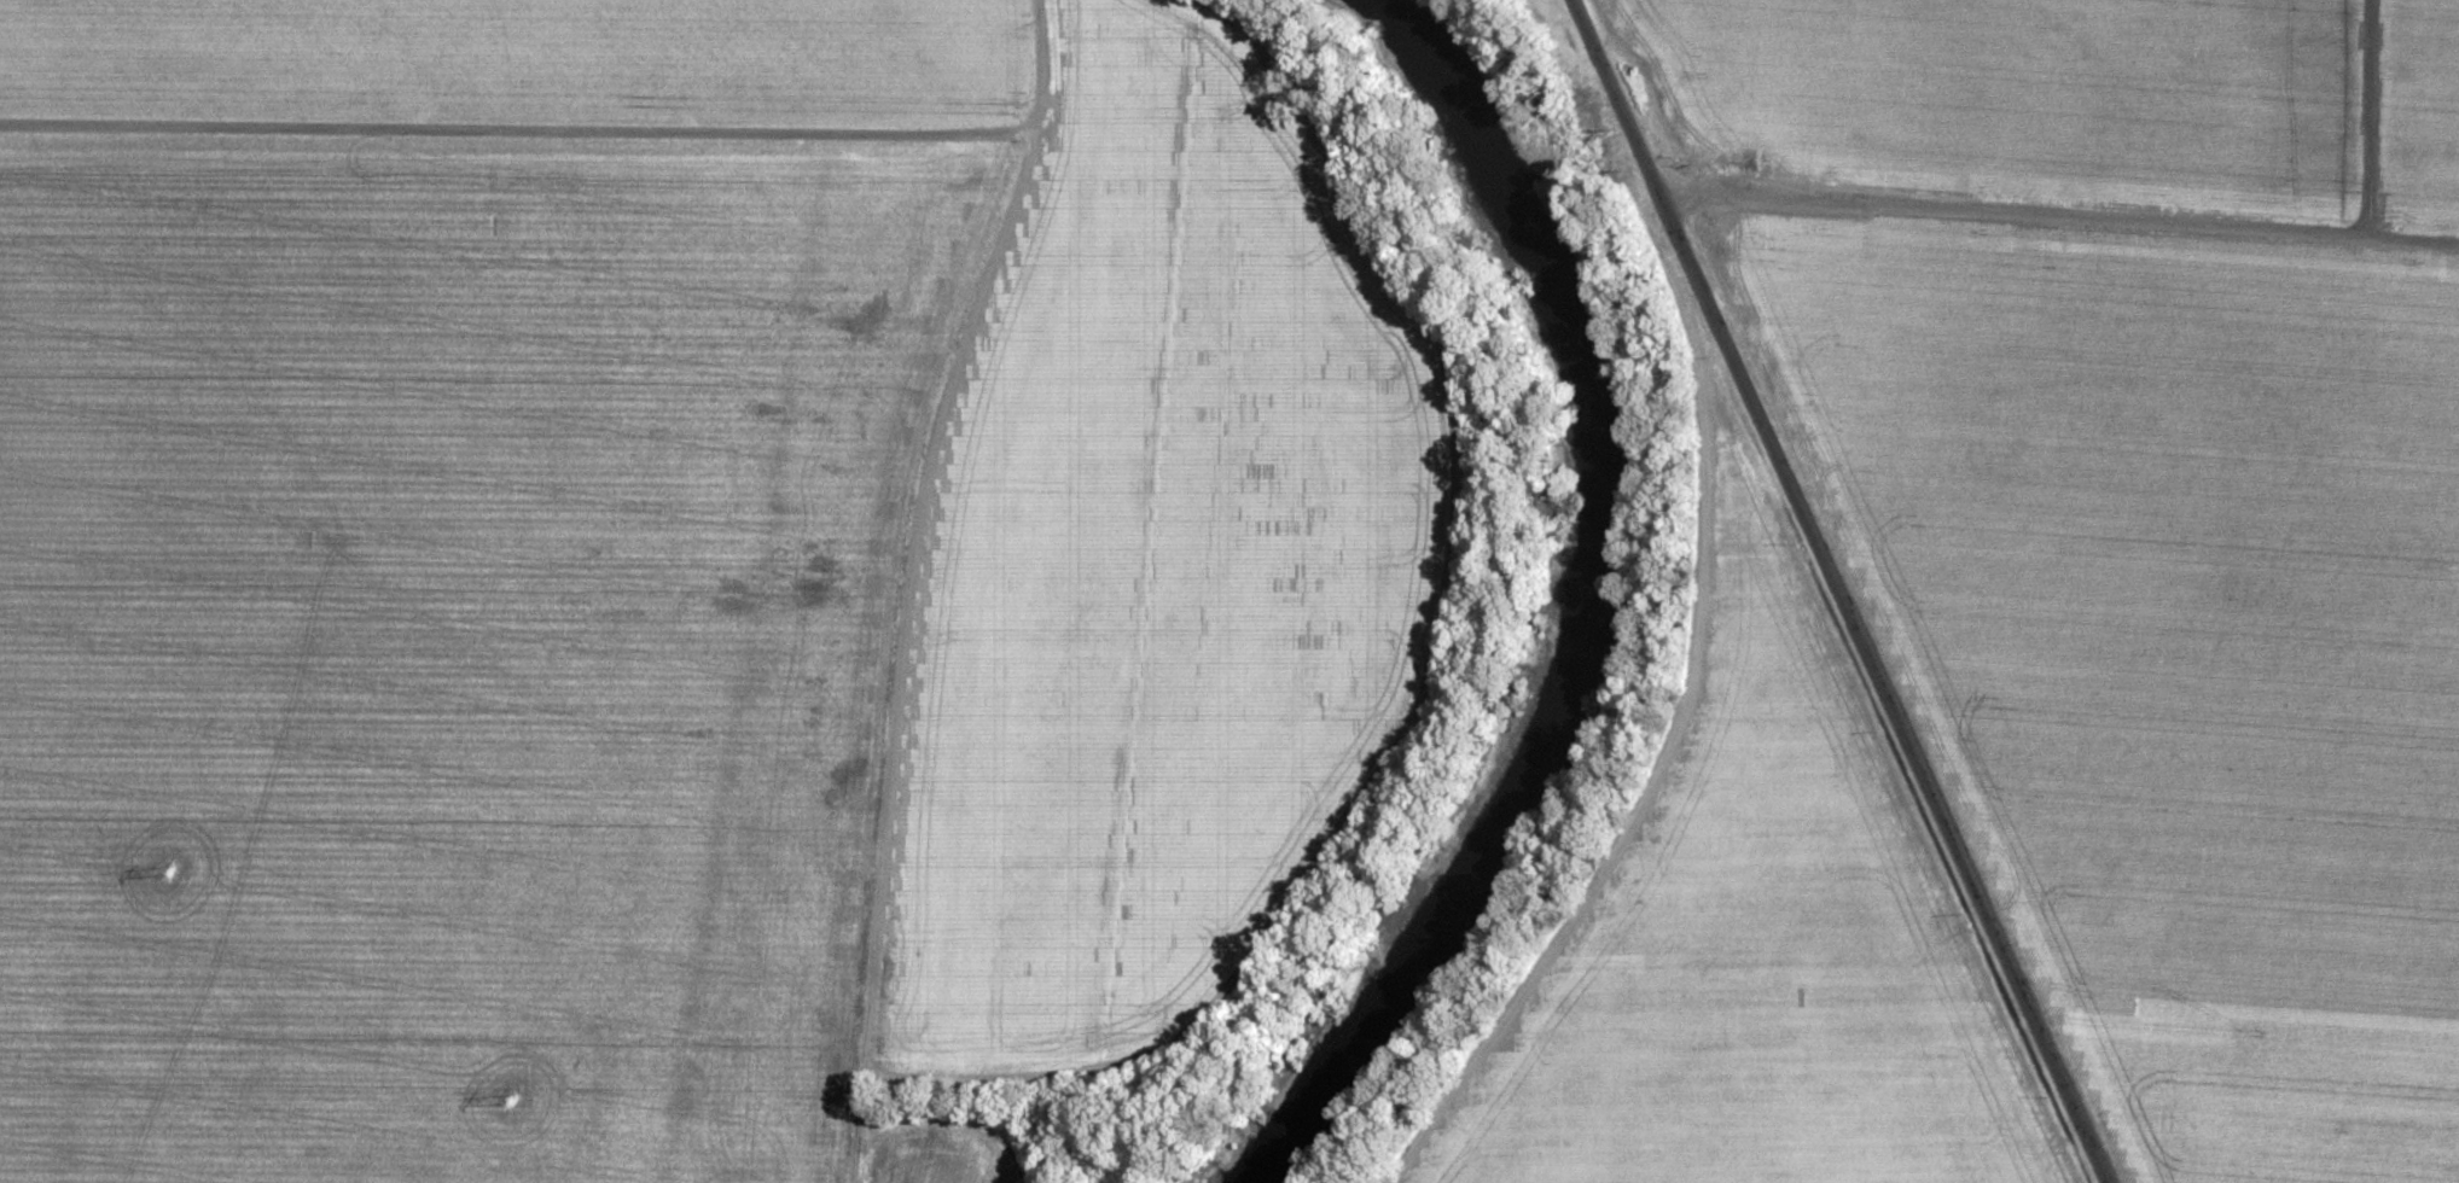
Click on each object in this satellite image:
road: (1833, 593)
power tower: (169, 873)
power tower: (511, 1097)

